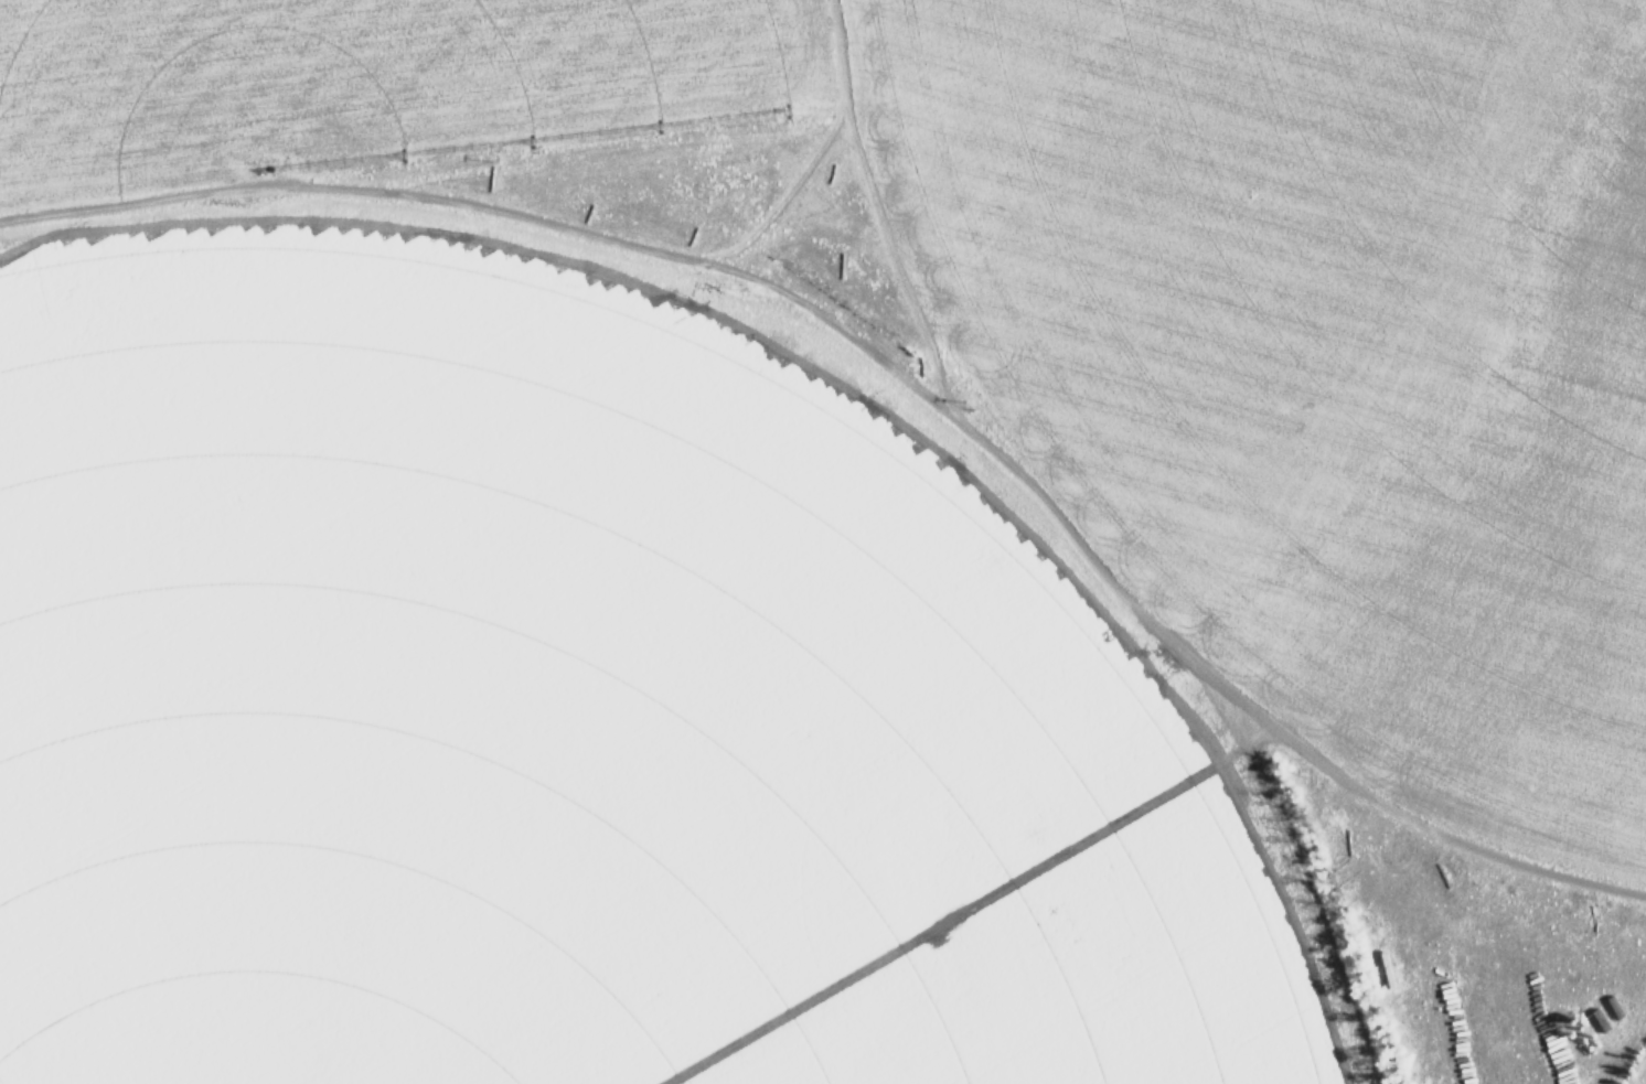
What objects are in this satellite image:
crop: (368, 71)
crop: (1330, 343)
crop: (580, 698)

